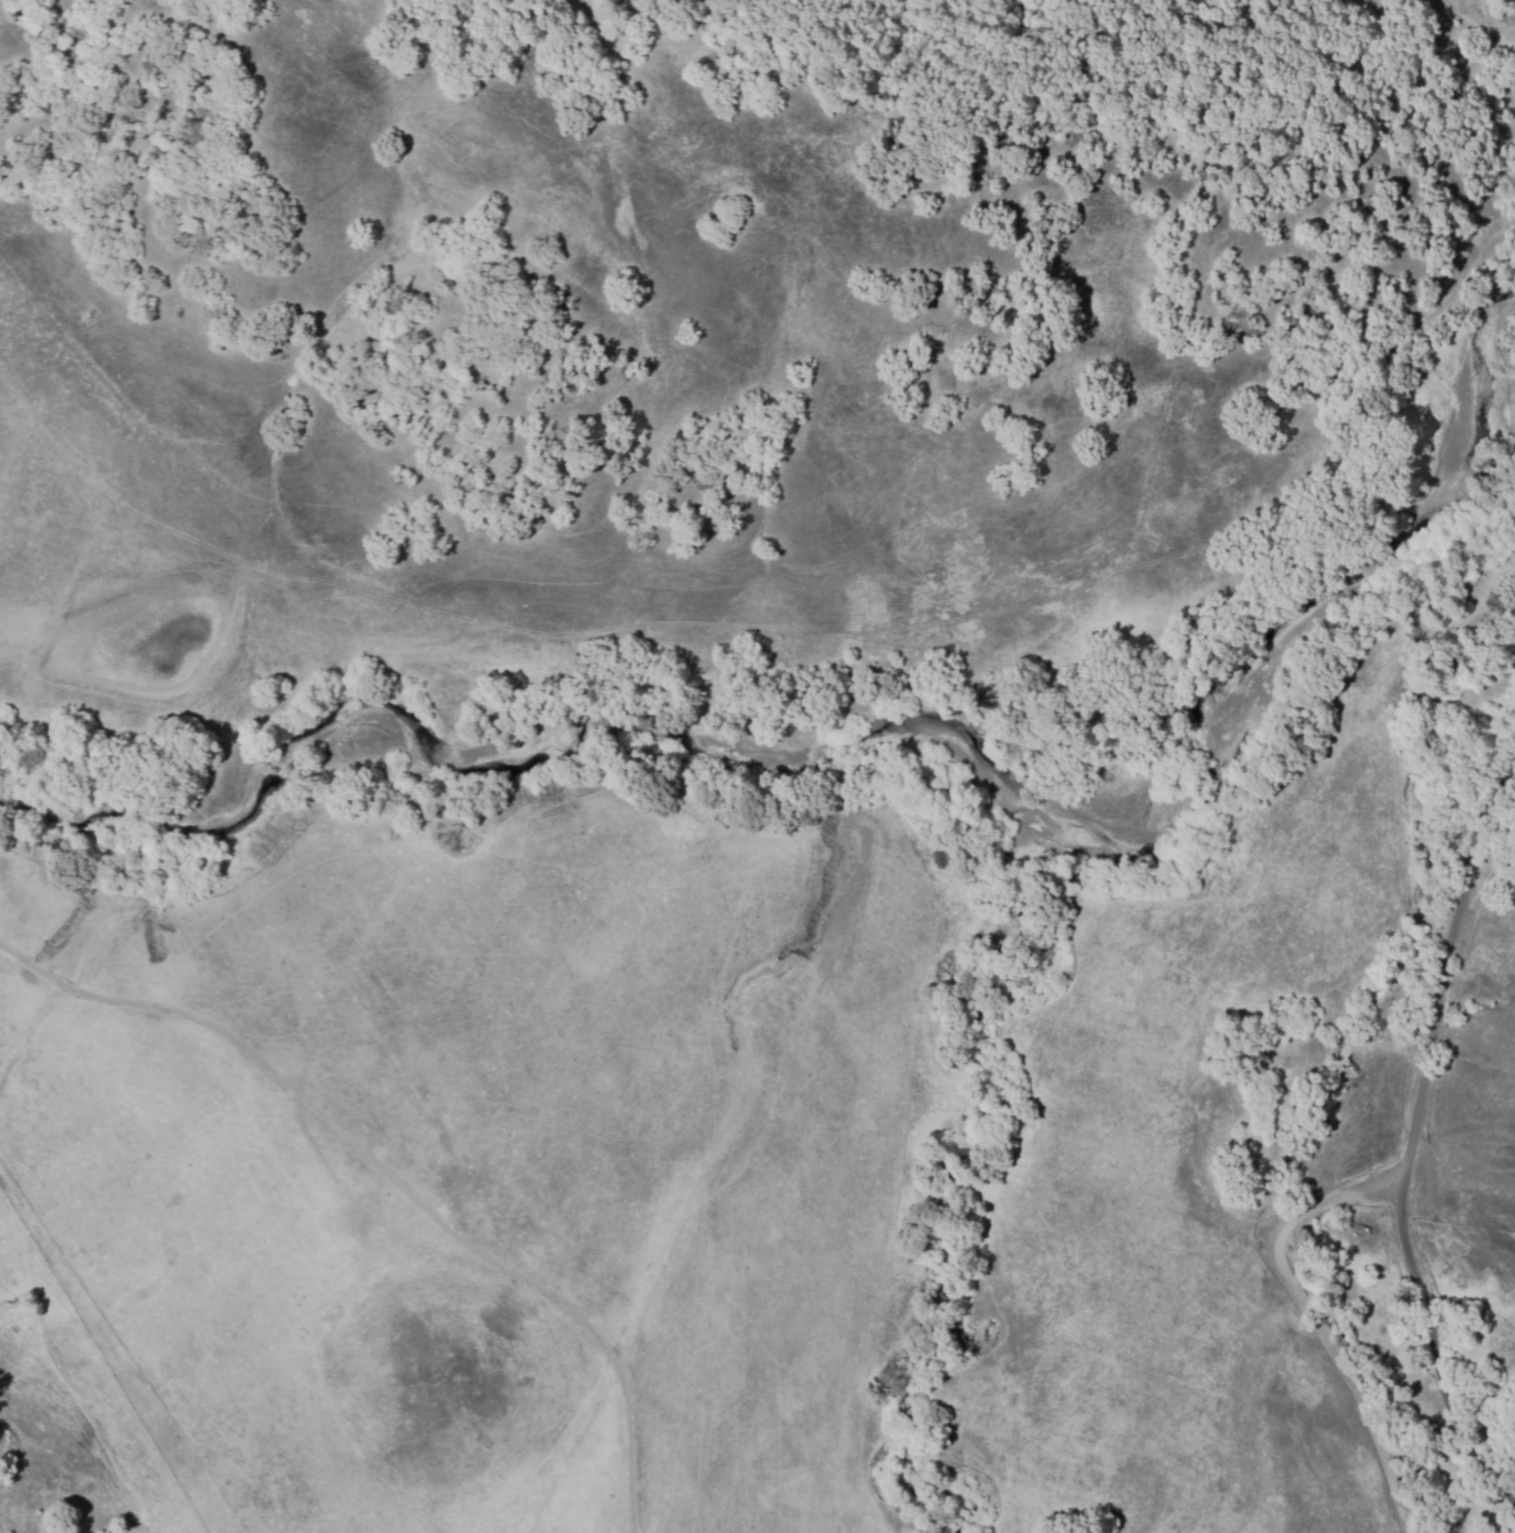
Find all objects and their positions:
road: (1415, 1112)
road: (1461, 1129)
road: (1315, 1325)

